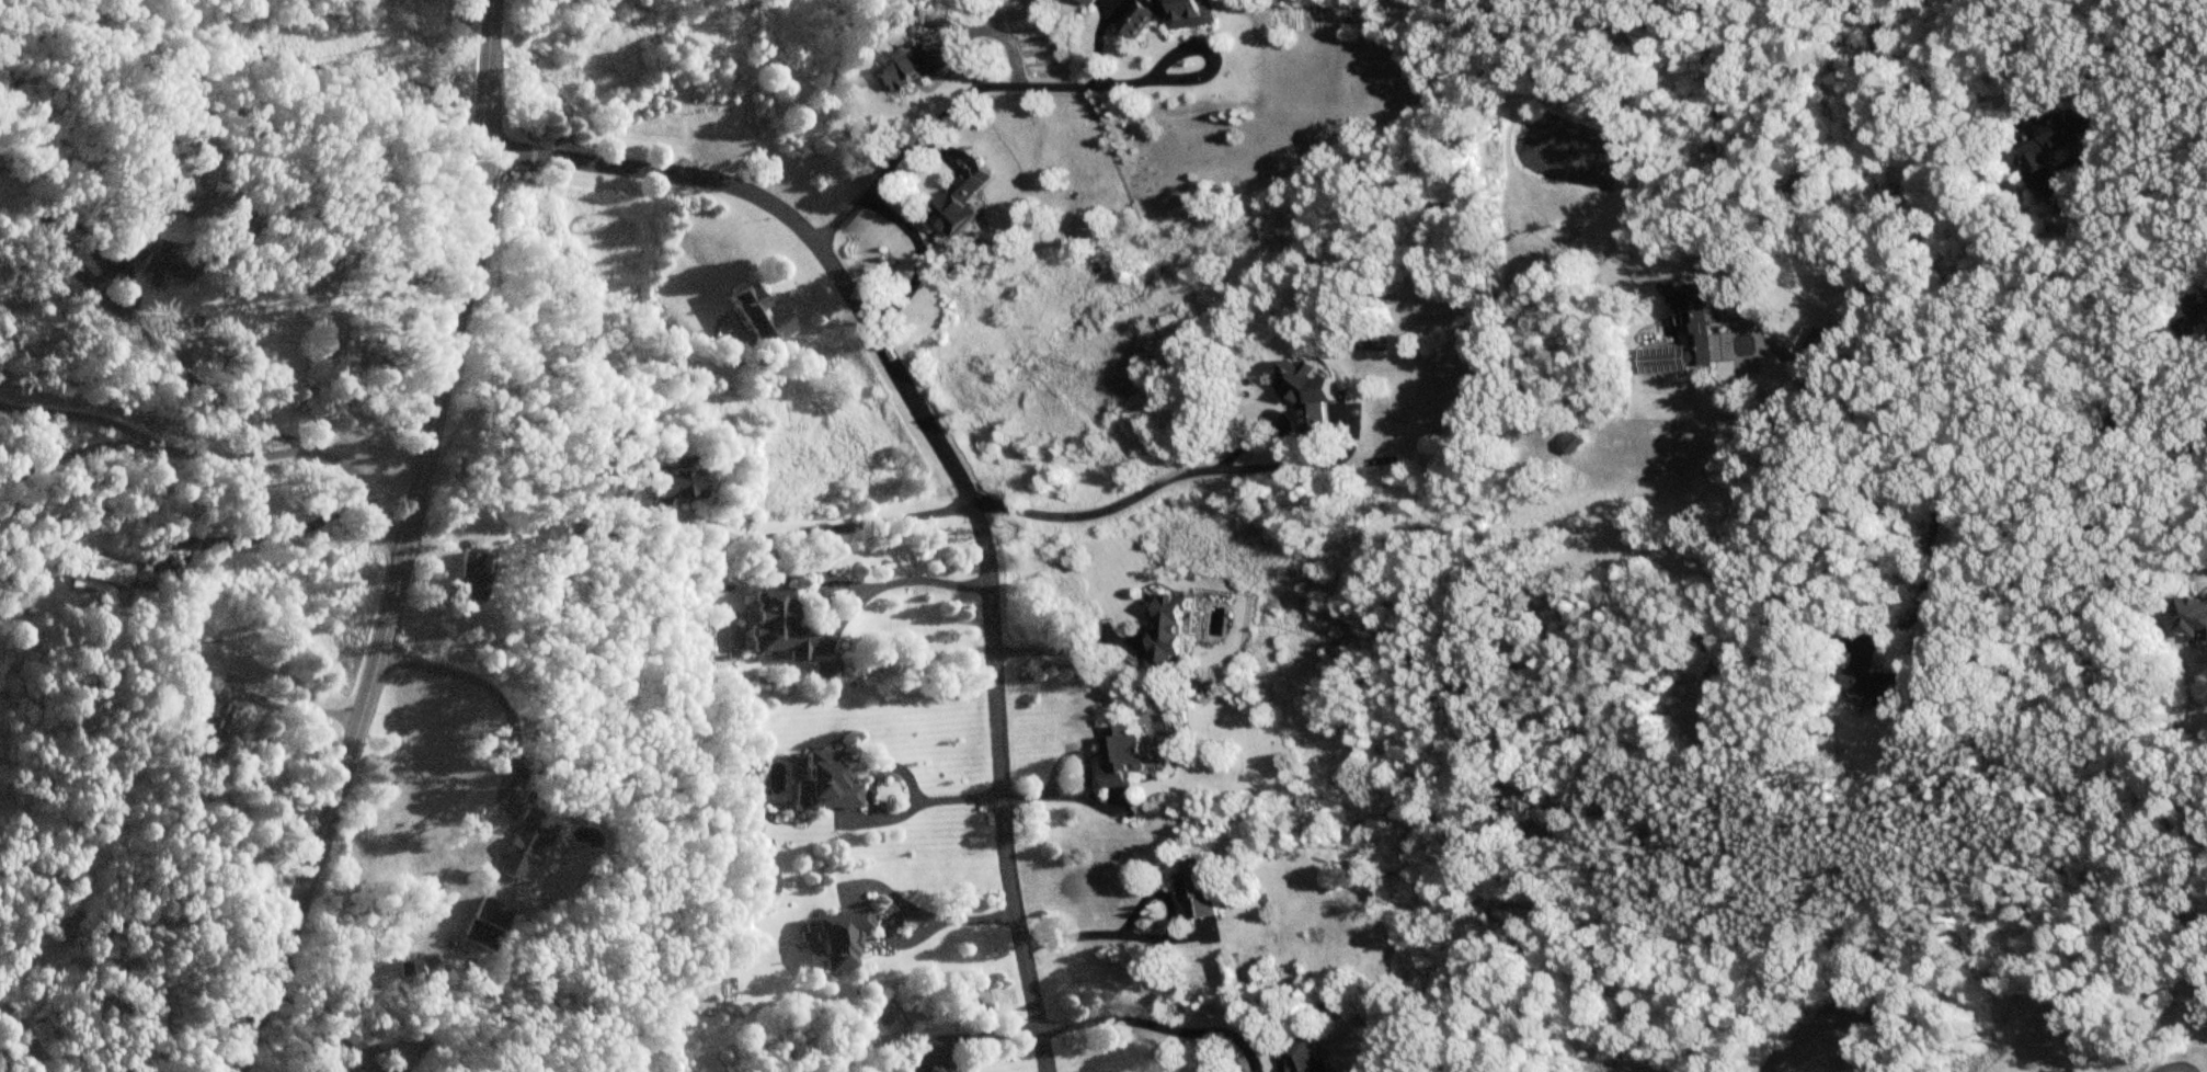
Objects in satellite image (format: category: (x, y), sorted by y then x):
building: (1091, 1)
building: (1169, 14)
building: (911, 64)
road: (1034, 85)
building: (2051, 146)
building: (959, 202)
road: (471, 227)
building: (53, 244)
road: (915, 256)
building: (151, 259)
road: (85, 278)
building: (2202, 309)
road: (2094, 312)
building: (762, 316)
building: (1686, 337)
road: (2197, 355)
road: (201, 385)
building: (1311, 390)
road: (73, 417)
road: (1260, 420)
road: (2169, 435)
building: (1570, 441)
road: (227, 457)
road: (951, 465)
road: (1177, 474)
building: (671, 493)
road: (1903, 495)
road: (819, 532)
road: (263, 534)
building: (101, 575)
building: (470, 575)
road: (1921, 586)
road: (856, 588)
building: (2196, 620)
building: (777, 625)
building: (1169, 628)
road: (1071, 649)
building: (1878, 685)
road: (495, 696)
road: (289, 707)
building: (211, 728)
road: (1072, 754)
building: (1123, 755)
road: (346, 764)
road: (879, 767)
building: (825, 783)
road: (1072, 795)
road: (914, 806)
building: (531, 833)
building: (1200, 903)
road: (915, 912)
building: (488, 924)
building: (838, 937)
road: (1148, 937)
road: (324, 1013)
road: (1157, 1027)
road: (969, 1036)
building: (1303, 1057)
road: (944, 1060)
road: (2169, 1065)

